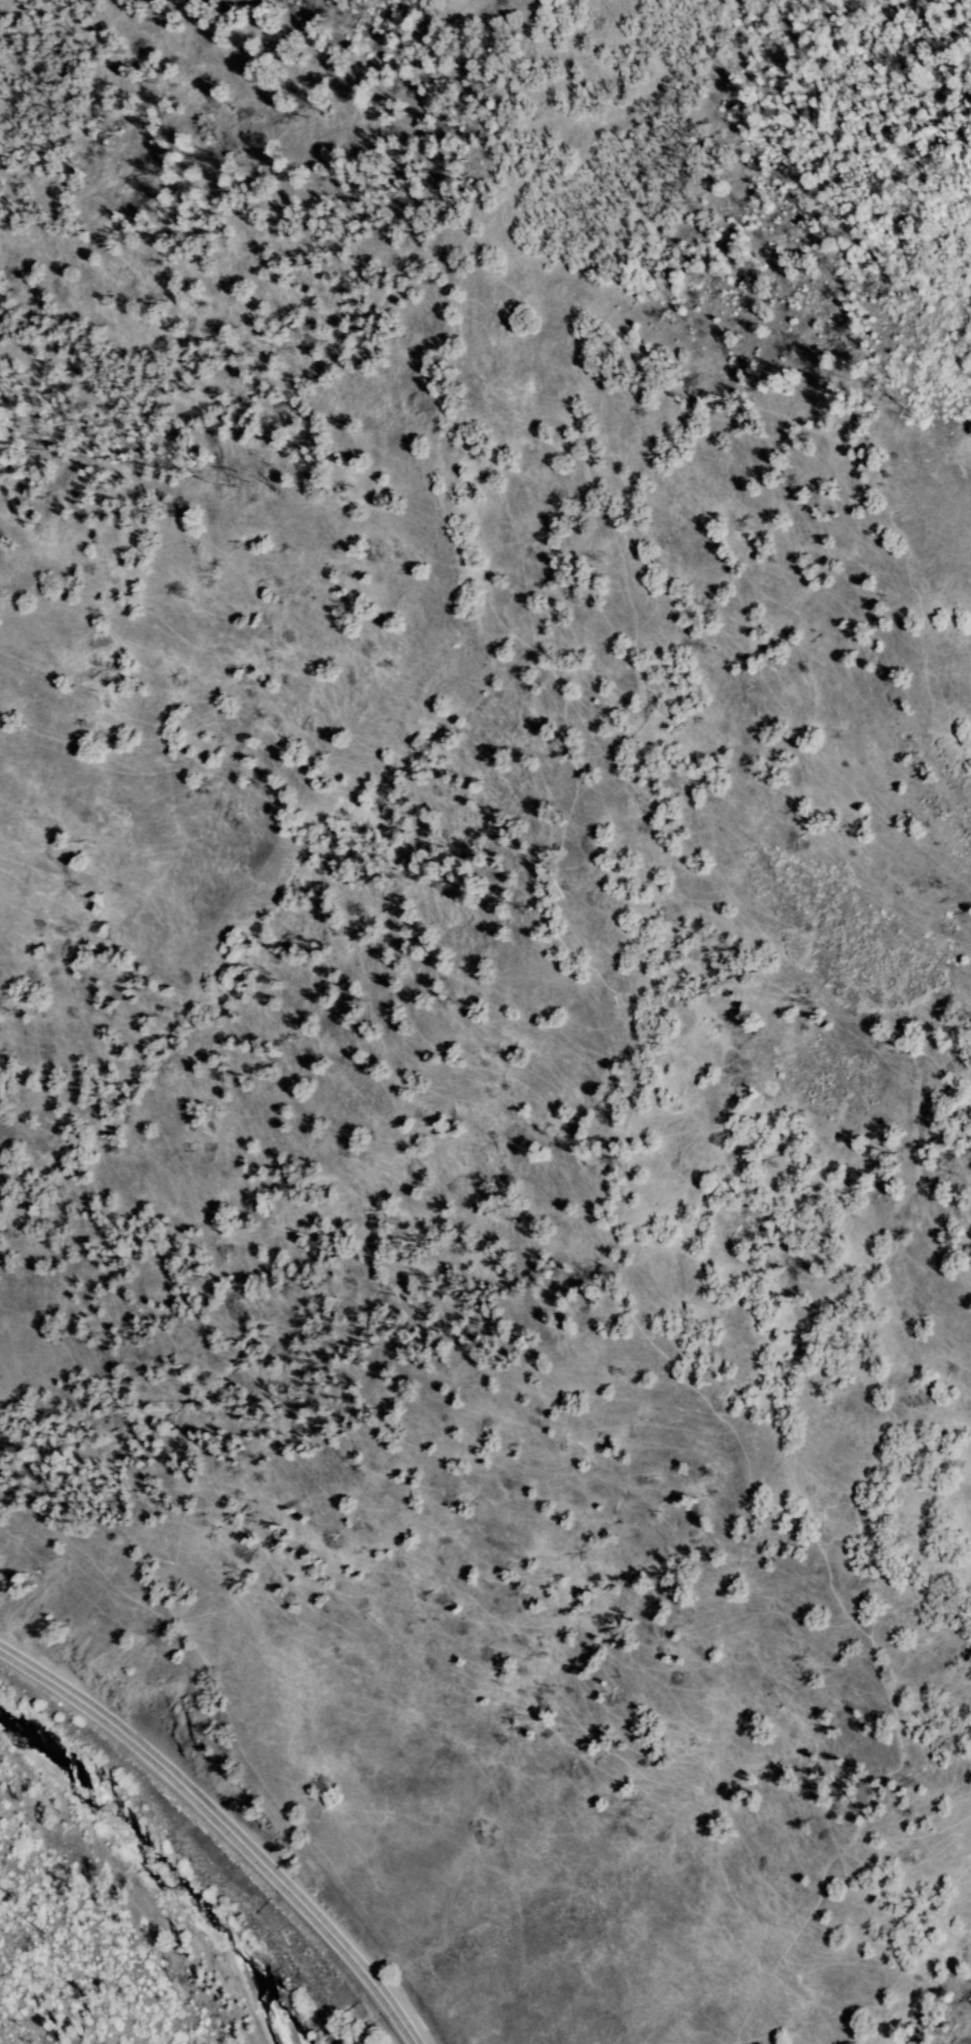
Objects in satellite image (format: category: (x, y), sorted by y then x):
road: (220, 1832)

